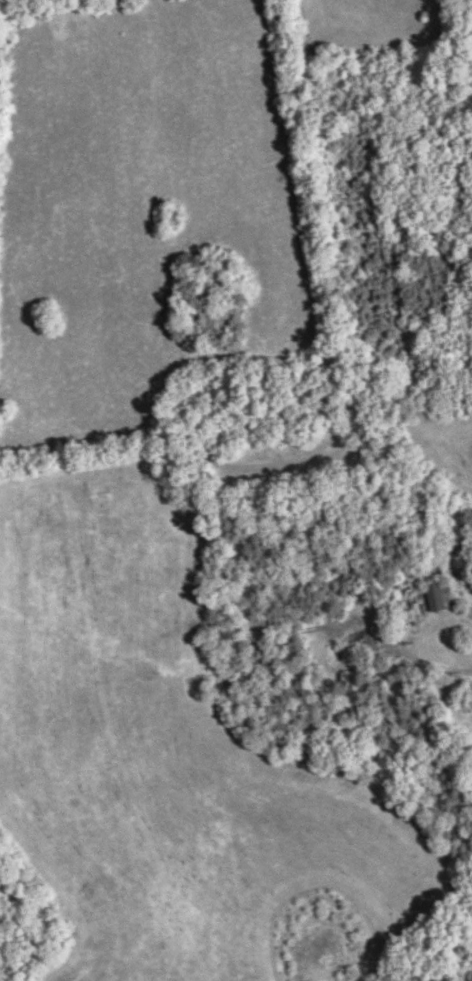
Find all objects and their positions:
building: (443, 595)

